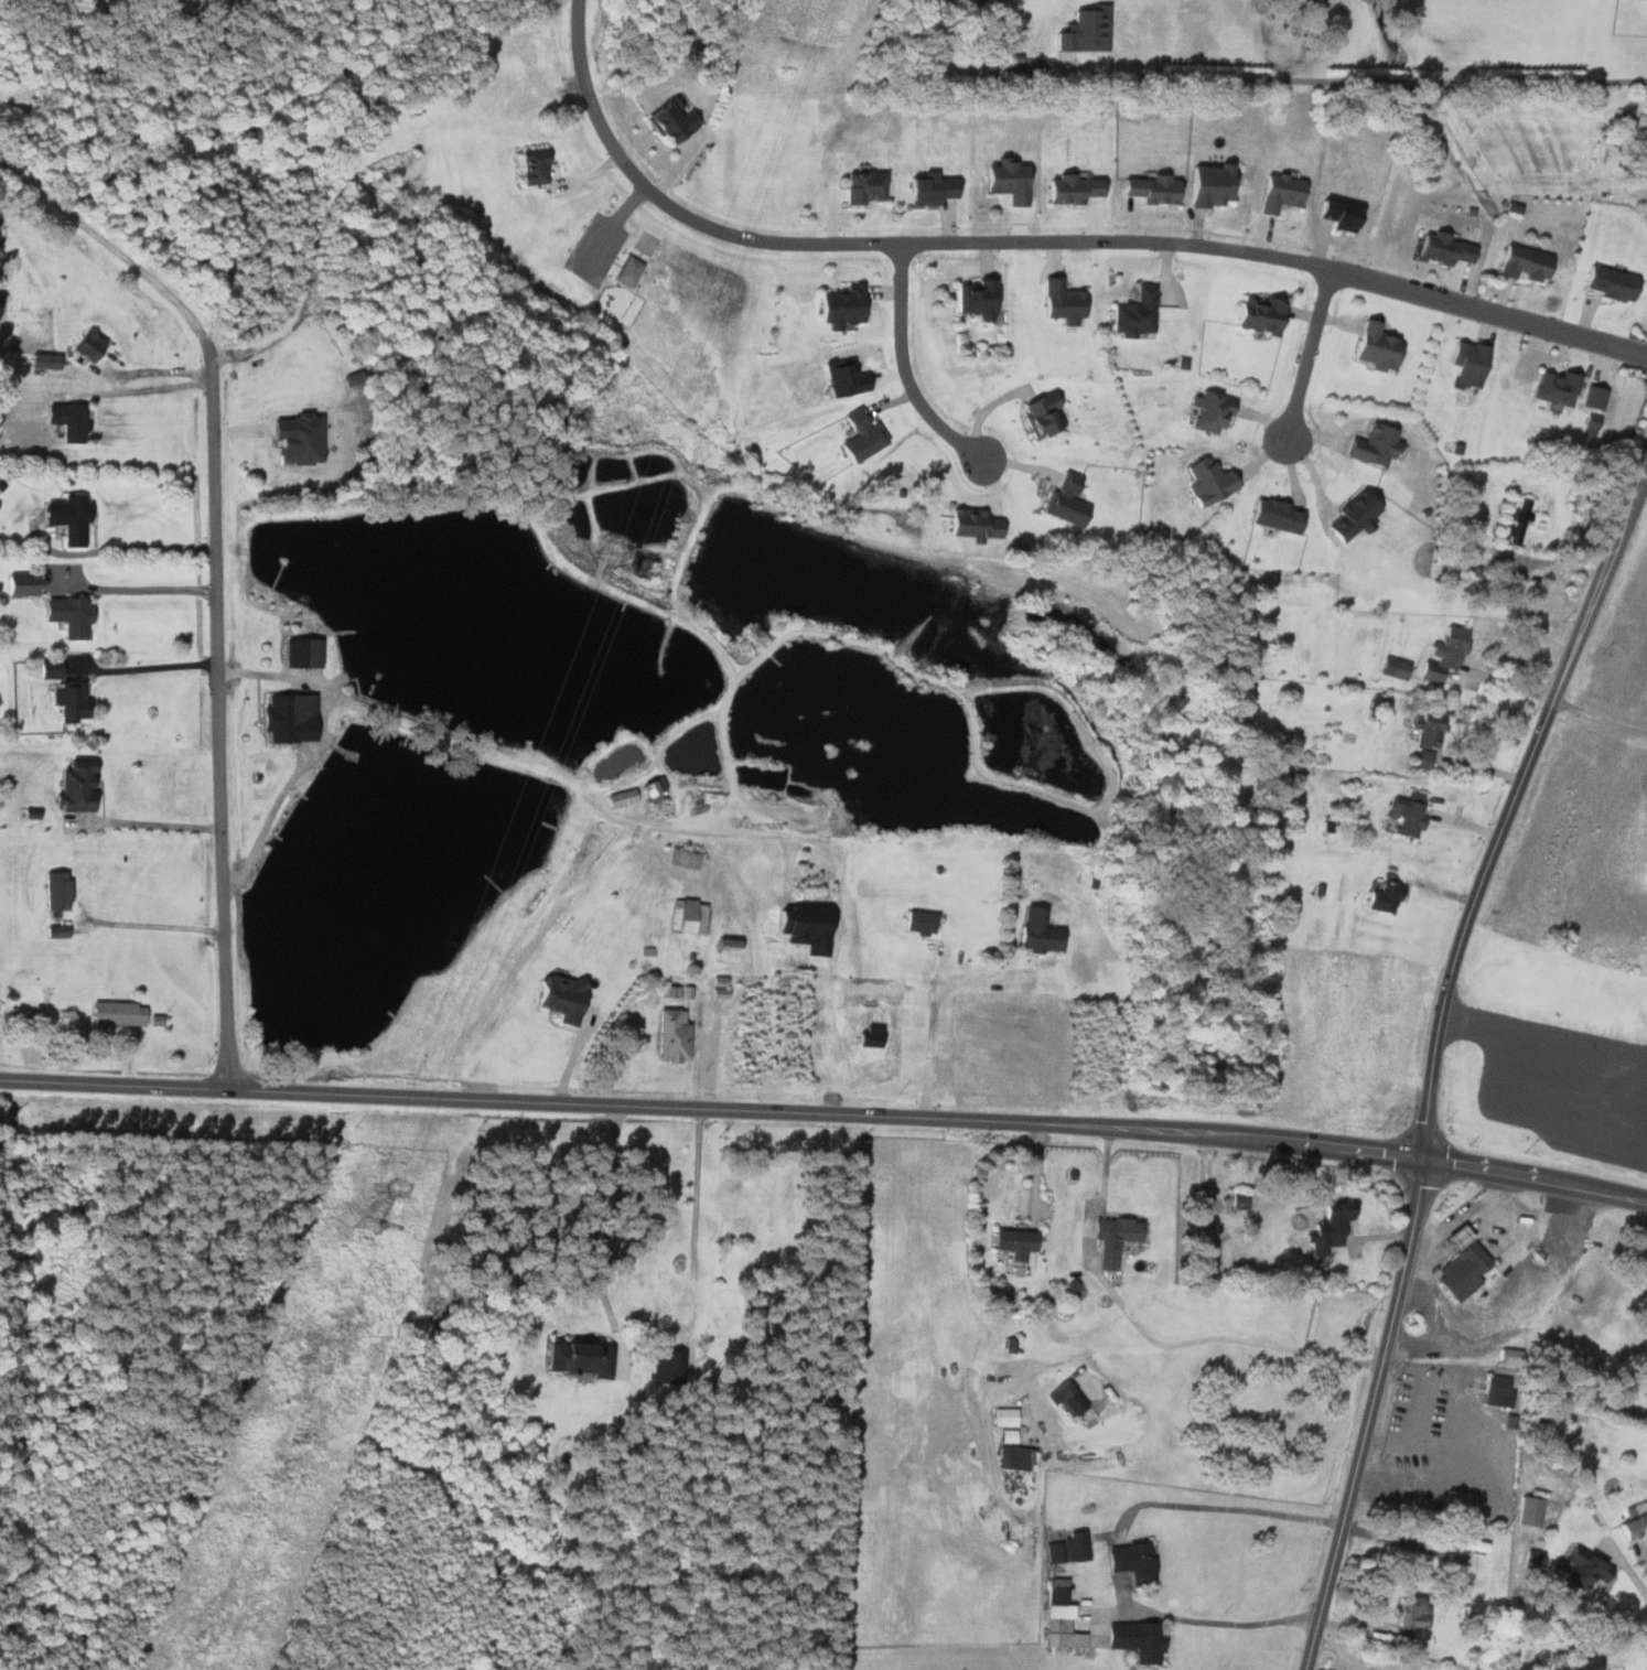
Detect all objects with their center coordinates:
building: (1083, 31)
road: (1355, 80)
building: (668, 121)
building: (531, 168)
building: (1004, 182)
building: (1207, 185)
building: (861, 187)
building: (926, 188)
building: (1069, 190)
building: (1148, 190)
building: (1278, 193)
building: (1332, 215)
road: (607, 228)
road: (1041, 241)
building: (1439, 249)
building: (1520, 263)
building: (626, 271)
building: (1608, 283)
building: (972, 300)
building: (1059, 302)
building: (838, 308)
building: (1131, 314)
building: (1257, 315)
building: (84, 345)
building: (1372, 346)
road: (1306, 356)
building: (1465, 364)
road: (146, 366)
road: (905, 369)
building: (841, 380)
building: (1552, 389)
building: (1592, 399)
building: (1207, 413)
building: (1038, 416)
building: (65, 421)
building: (1590, 425)
building: (857, 438)
building: (294, 439)
building: (1370, 446)
building: (1205, 482)
building: (1063, 502)
building: (1272, 516)
building: (1352, 516)
building: (66, 518)
building: (1516, 522)
building: (969, 525)
road: (114, 550)
power tower: (610, 550)
road: (213, 579)
building: (19, 585)
road: (136, 588)
building: (66, 616)
building: (299, 654)
building: (1442, 655)
road: (157, 667)
building: (1392, 668)
building: (49, 670)
building: (69, 703)
road: (1598, 718)
building: (287, 719)
building: (1425, 730)
road: (317, 746)
building: (1420, 759)
road: (520, 765)
building: (73, 787)
building: (648, 793)
building: (1409, 815)
road: (147, 823)
building: (682, 859)
building: (54, 892)
building: (1380, 897)
building: (687, 917)
building: (917, 922)
road: (155, 926)
building: (1034, 930)
building: (54, 933)
building: (723, 950)
building: (674, 991)
building: (558, 998)
road: (701, 1010)
building: (116, 1013)
building: (669, 1034)
road: (930, 1035)
road: (1541, 1037)
road: (1432, 1054)
road: (514, 1101)
road: (1339, 1146)
road: (1460, 1216)
road: (1524, 1219)
power tower: (366, 1225)
building: (1328, 1228)
building: (1111, 1238)
building: (1011, 1243)
building: (1460, 1272)
road: (1118, 1301)
road: (1513, 1307)
road: (1334, 1357)
building: (575, 1358)
road: (1056, 1364)
road: (650, 1377)
building: (1495, 1391)
building: (1065, 1398)
building: (1004, 1423)
building: (1011, 1457)
road: (1226, 1508)
building: (1632, 1526)
road: (1407, 1532)
building: (1470, 1545)
building: (1067, 1549)
road: (1640, 1552)
building: (1130, 1561)
building: (1580, 1569)
road: (1632, 1571)
building: (1407, 1612)
building: (1059, 1620)
road: (1210, 1621)
building: (1133, 1639)
road: (1612, 1642)
road: (1349, 1656)
building: (1583, 1664)

